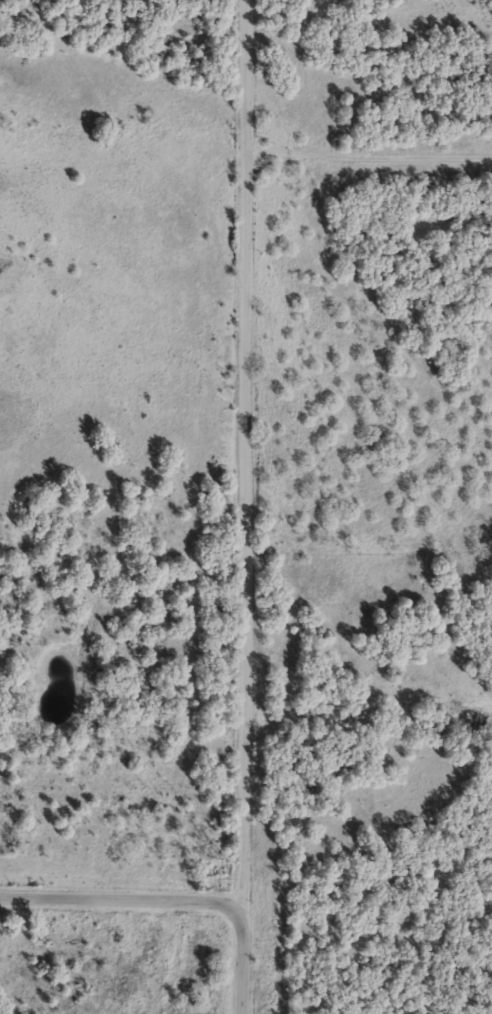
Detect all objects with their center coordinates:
road: (368, 155)
road: (243, 456)
road: (119, 899)
road: (240, 963)

